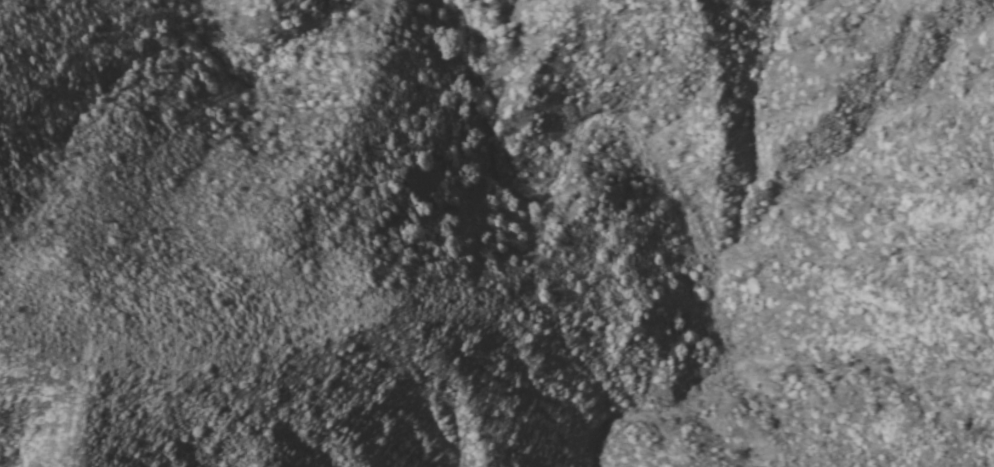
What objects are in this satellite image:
quarry: (863, 250)

